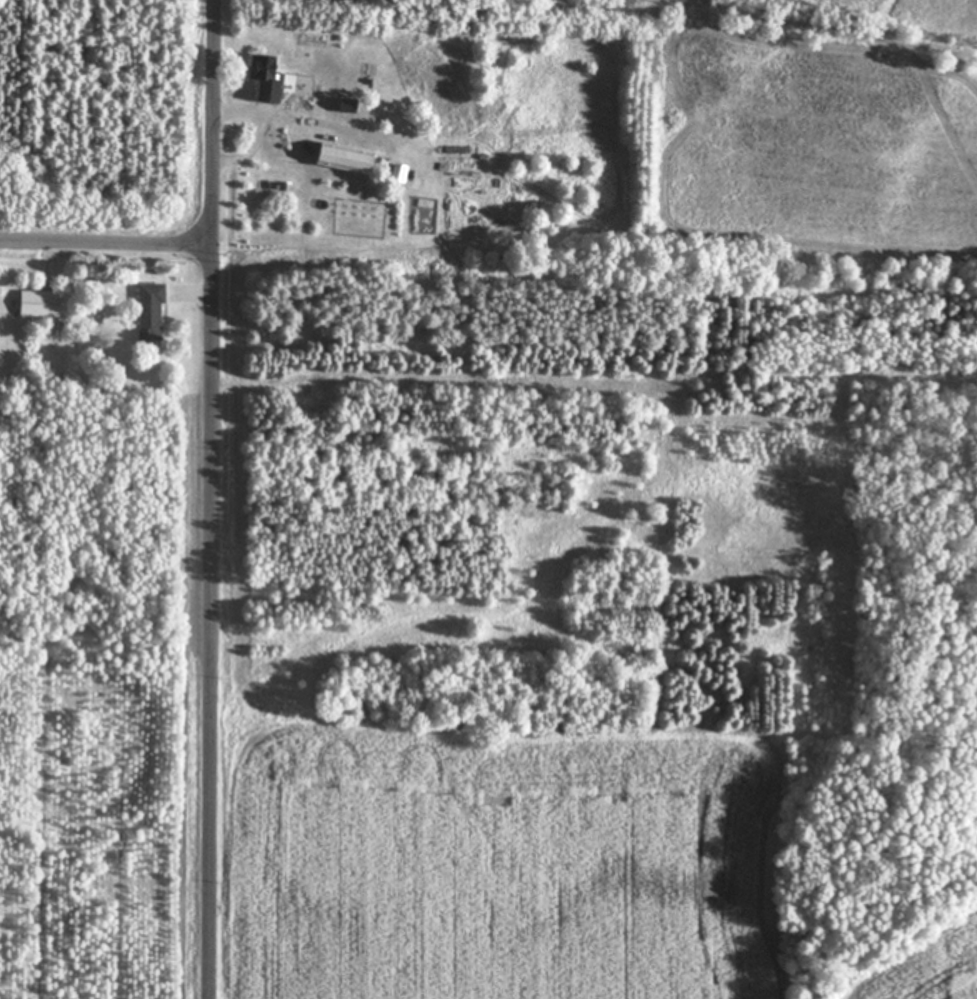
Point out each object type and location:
building: (269, 78)
road: (262, 132)
building: (348, 158)
road: (106, 241)
building: (41, 303)
building: (151, 311)
building: (309, 391)
road: (211, 499)

